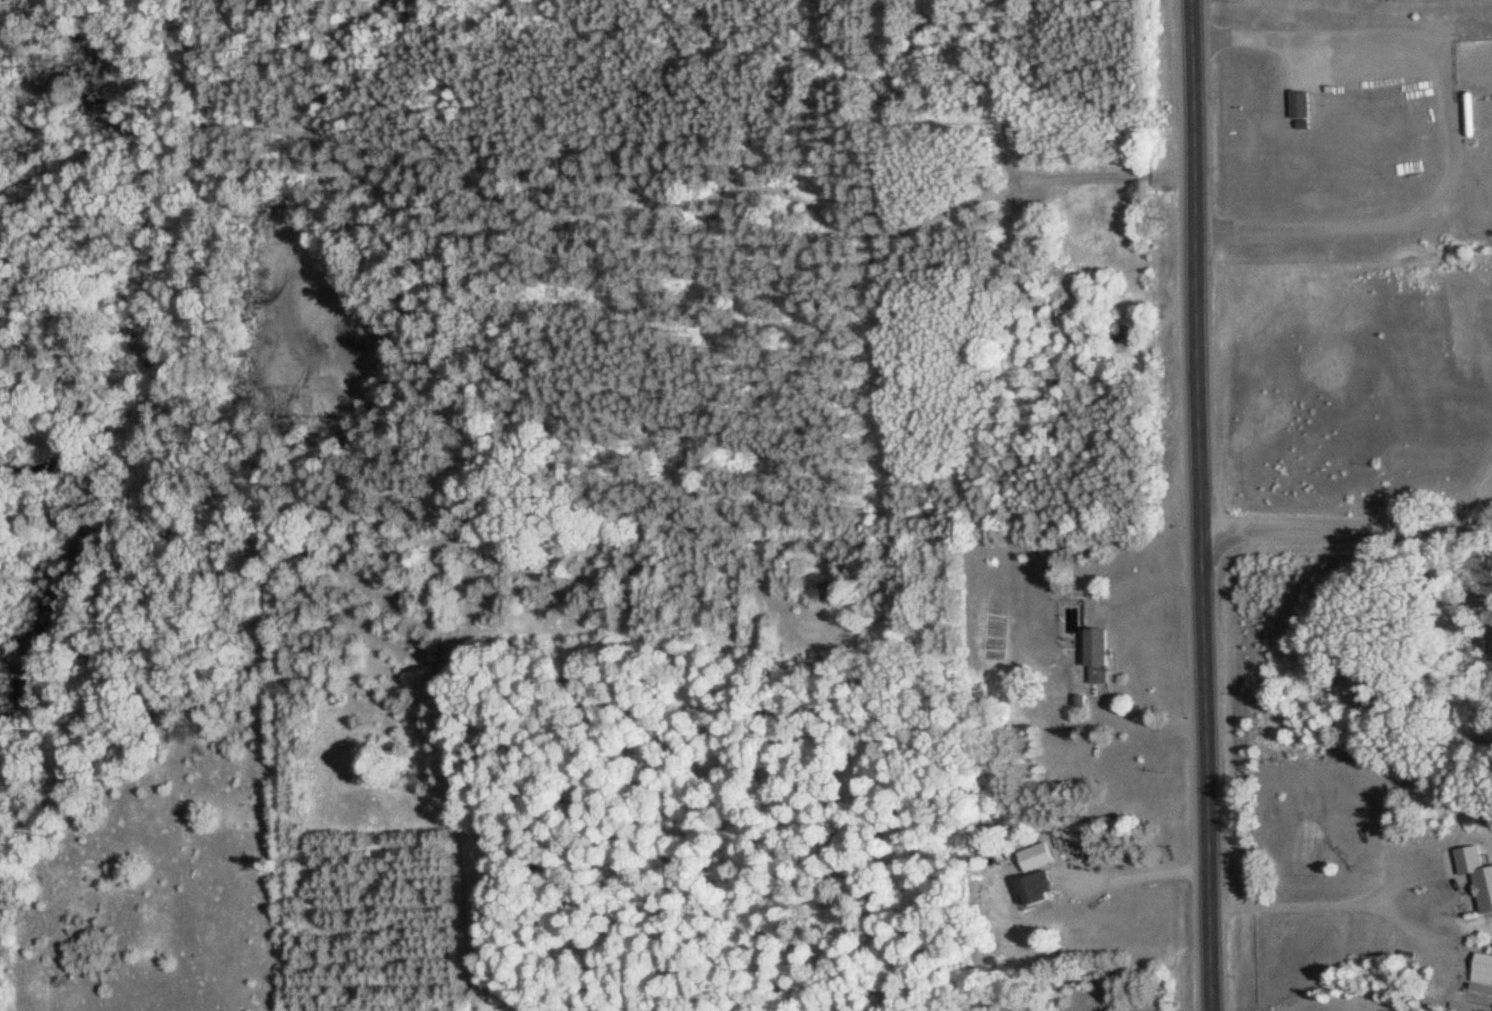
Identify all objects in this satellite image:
building: (1303, 104)
road: (1193, 268)
road: (1344, 534)
building: (1099, 655)
road: (1204, 773)
building: (1472, 870)
building: (1040, 883)
building: (1483, 968)
road: (1316, 999)

